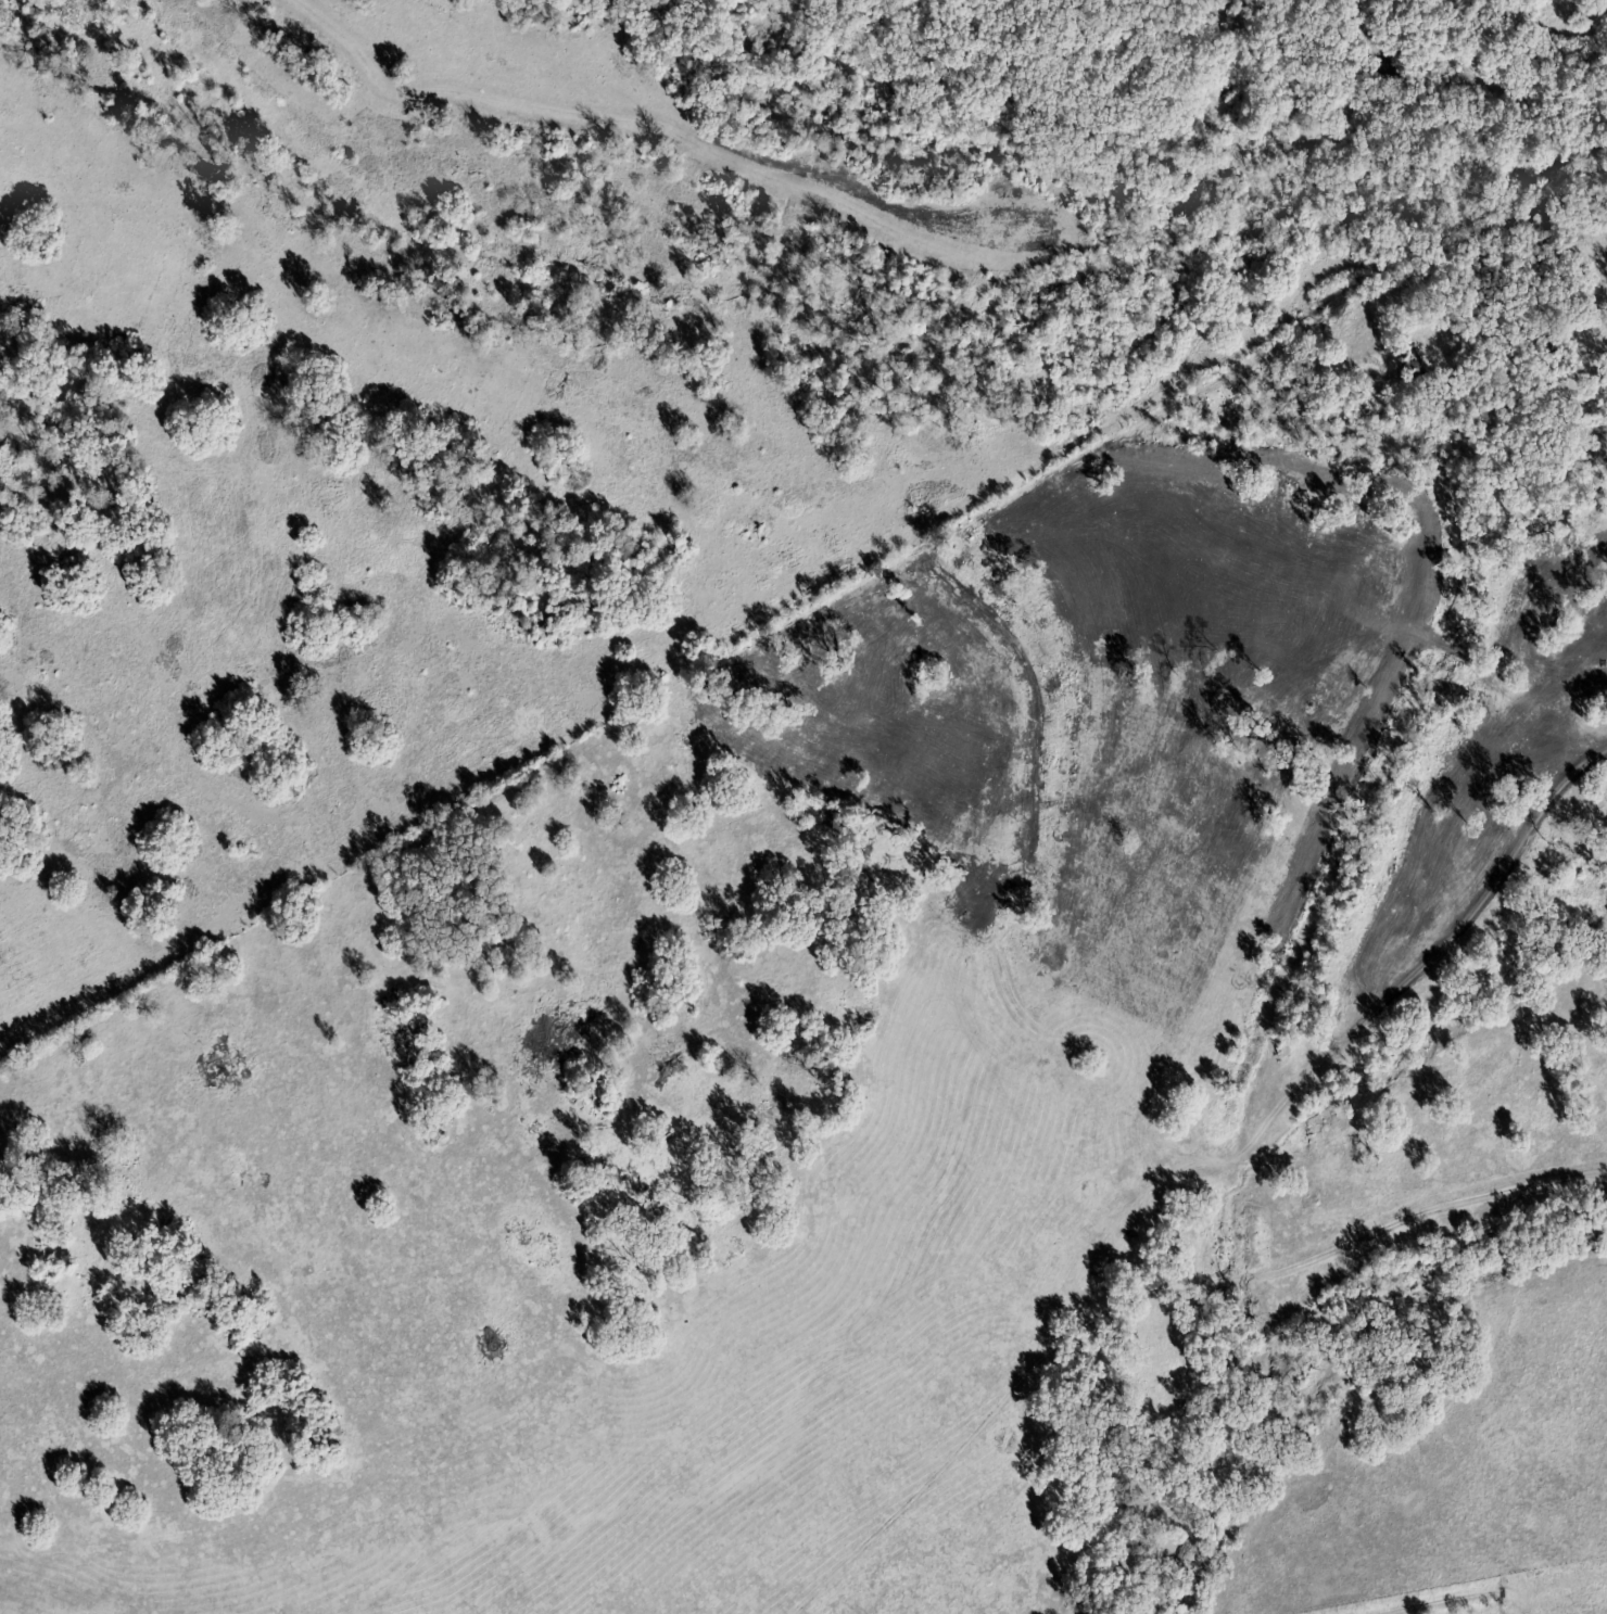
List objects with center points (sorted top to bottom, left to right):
road: (1484, 1593)
road: (1520, 1601)

